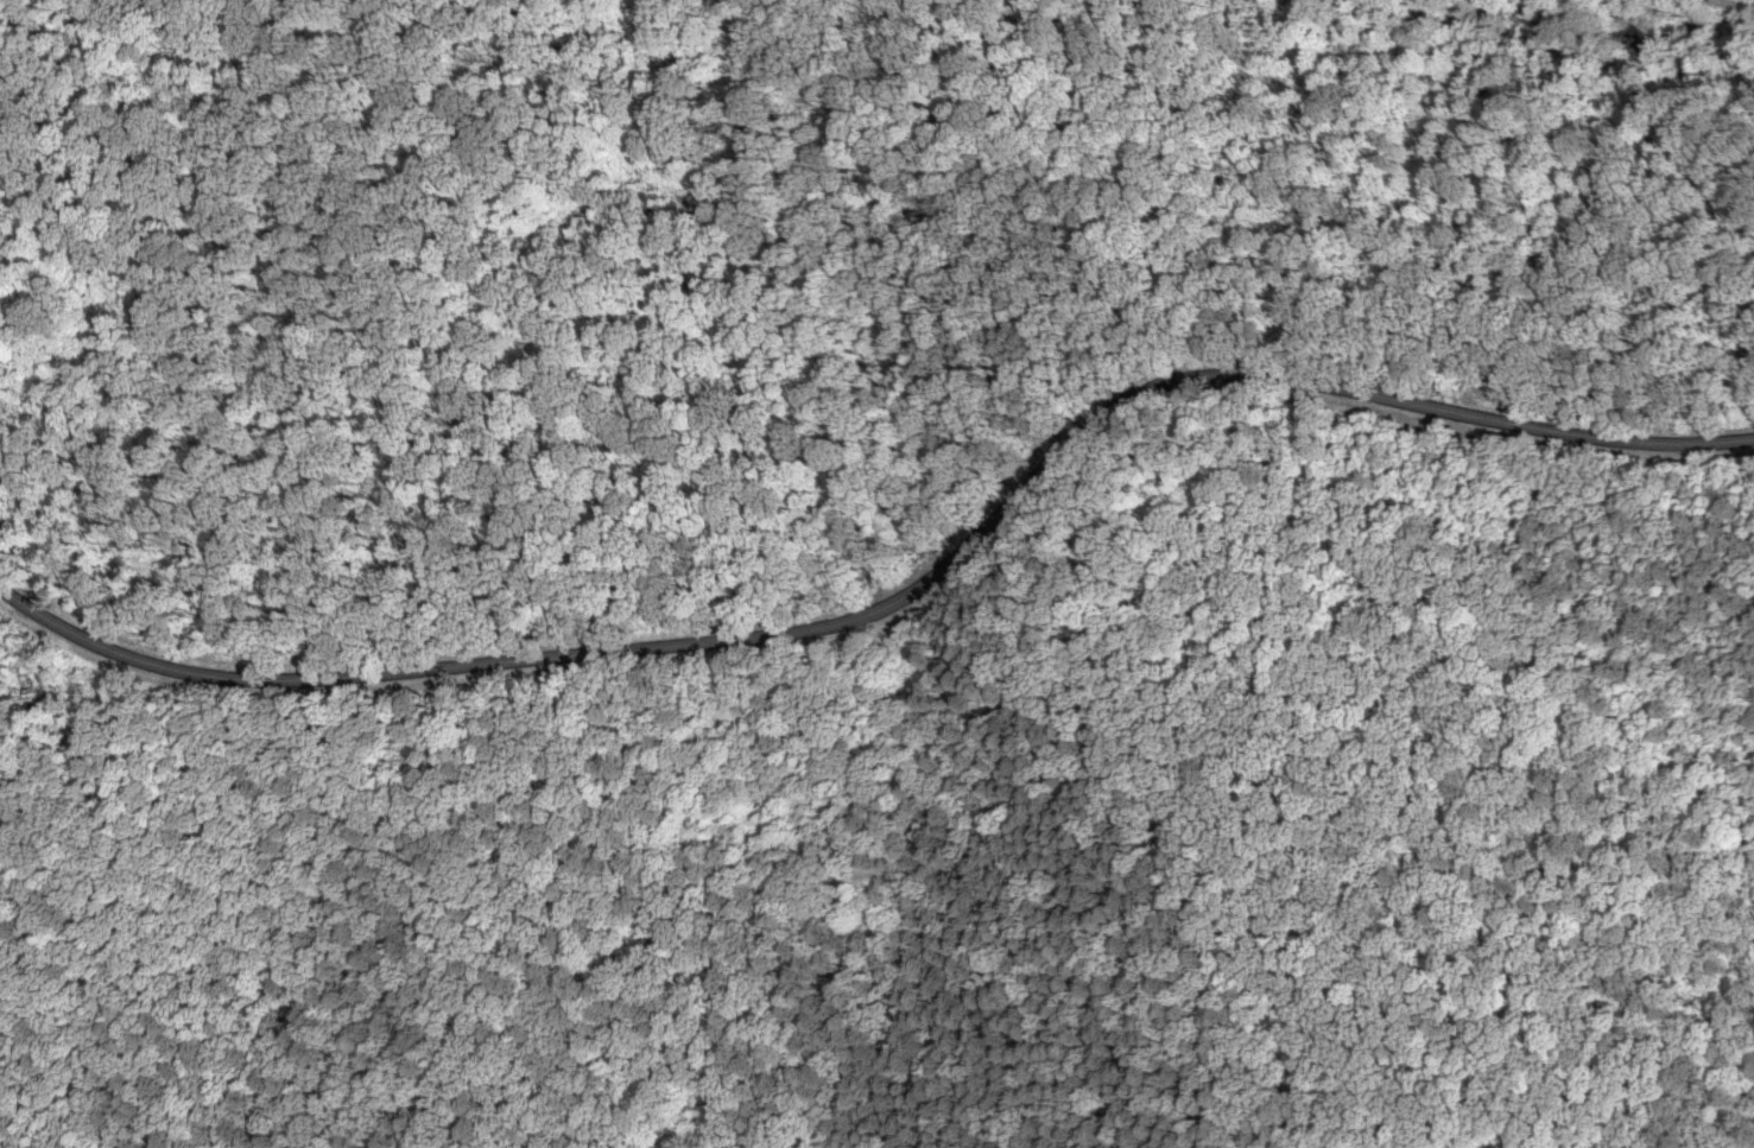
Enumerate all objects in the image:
road: (27, 55)
road: (6, 191)
road: (904, 597)

